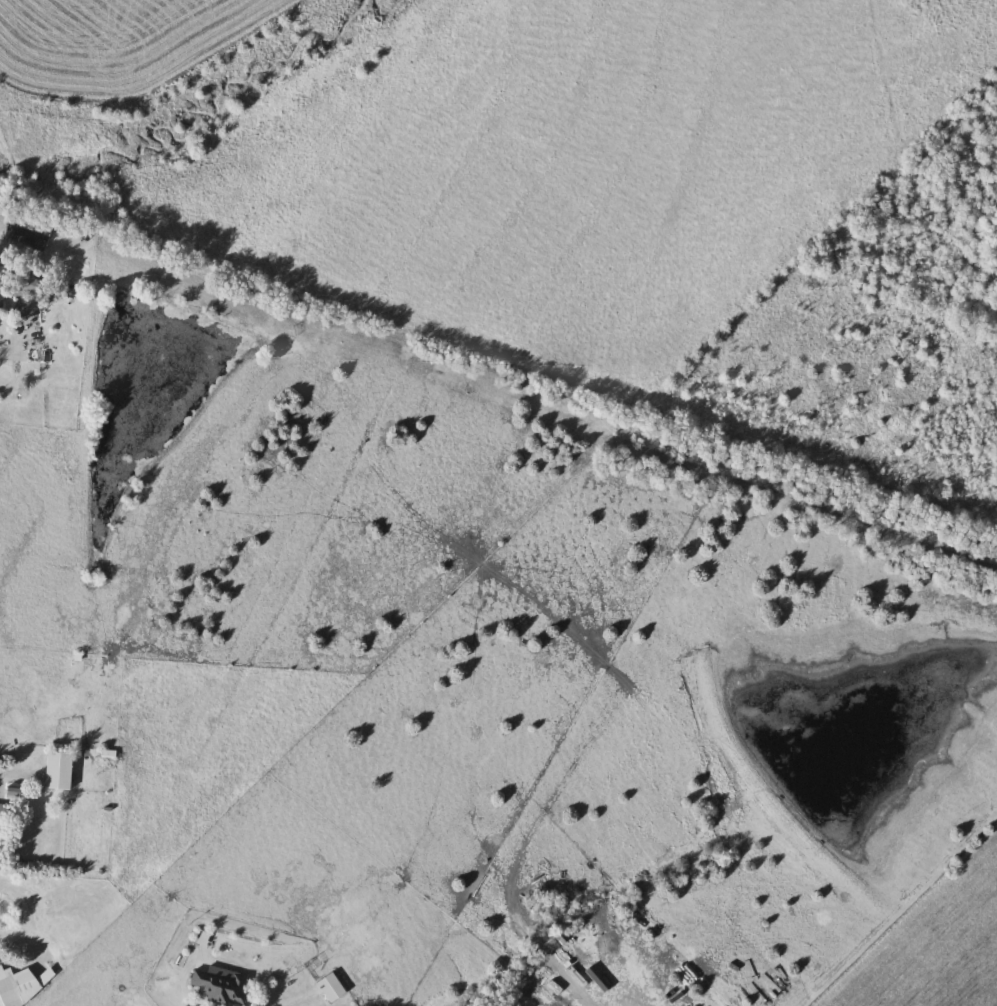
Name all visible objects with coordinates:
road: (26, 74)
building: (4, 290)
road: (24, 340)
road: (15, 768)
building: (62, 771)
building: (0, 815)
road: (6, 964)
road: (266, 983)
building: (219, 985)
building: (20, 987)
building: (333, 988)
road: (108, 995)

